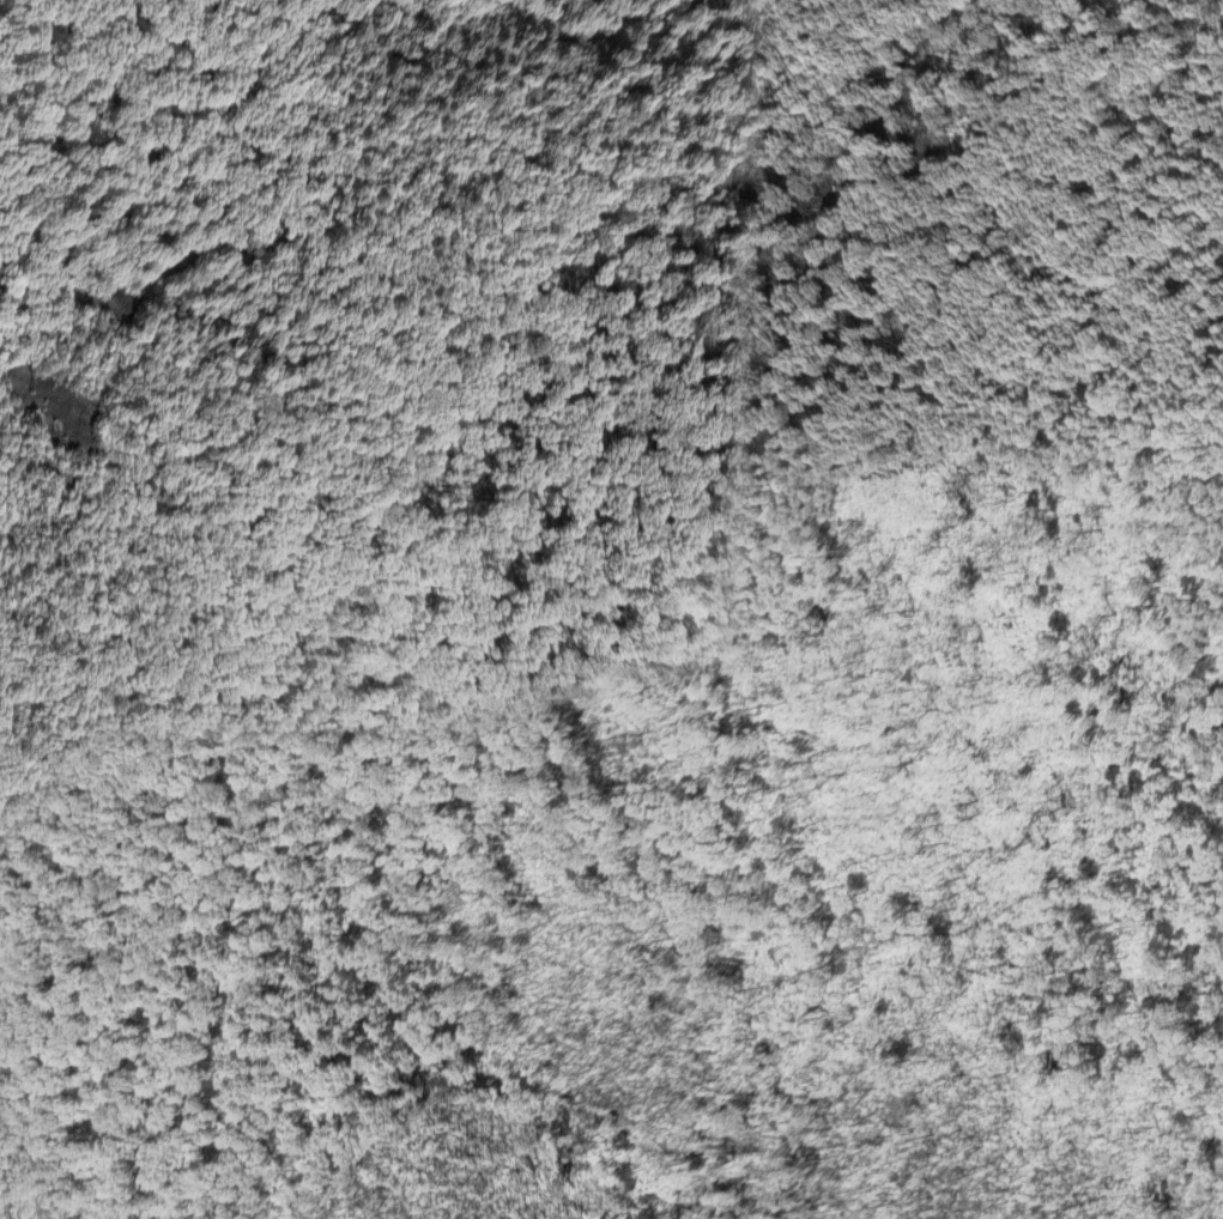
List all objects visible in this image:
park: (734, 496)
park: (18, 1190)

